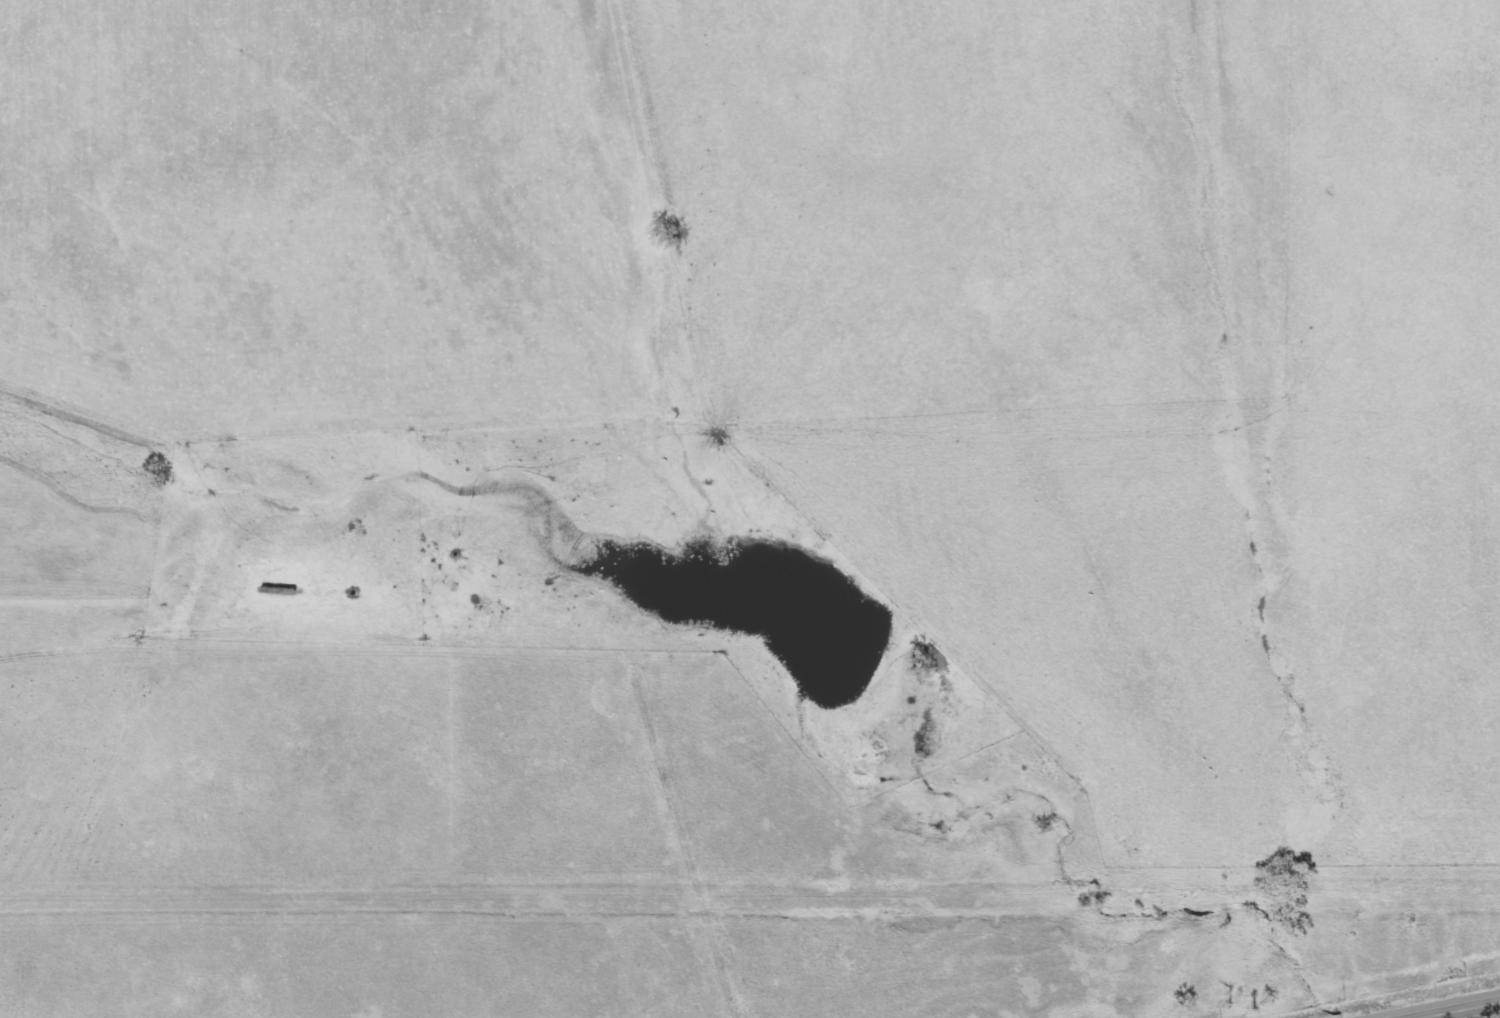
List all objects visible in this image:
road: (1461, 1010)

